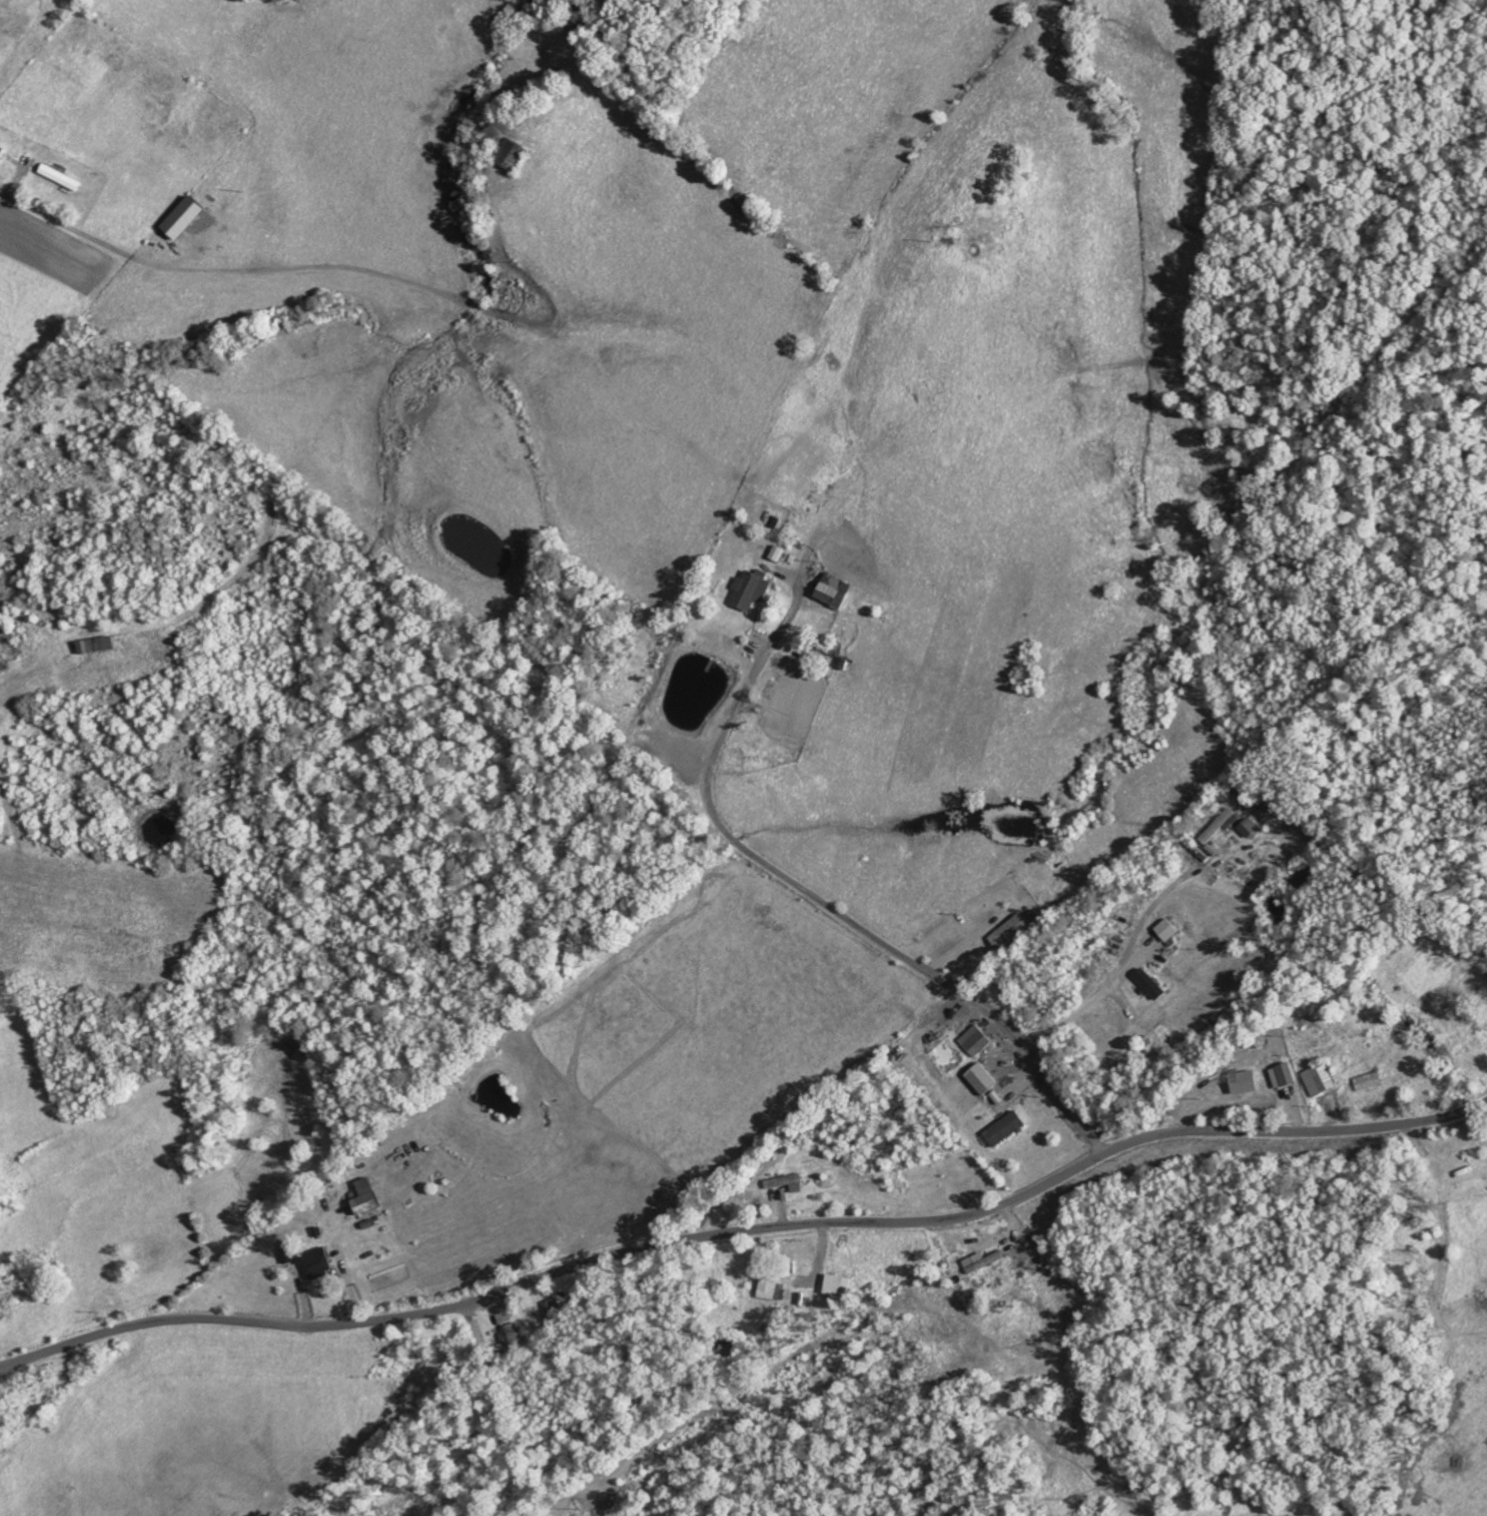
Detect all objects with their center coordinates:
building: (2, 153)
building: (188, 218)
building: (755, 590)
building: (837, 591)
building: (102, 644)
building: (1221, 825)
building: (1249, 827)
road: (823, 905)
building: (1168, 930)
building: (1012, 932)
building: (1153, 984)
building: (978, 1040)
building: (1285, 1075)
building: (985, 1079)
building: (1321, 1079)
building: (1246, 1081)
building: (1370, 1081)
building: (1009, 1129)
building: (790, 1182)
building: (368, 1196)
road: (745, 1234)
building: (289, 1255)
building: (985, 1261)
building: (318, 1264)
building: (838, 1284)
building: (775, 1289)
building: (556, 1308)
road: (514, 1407)

